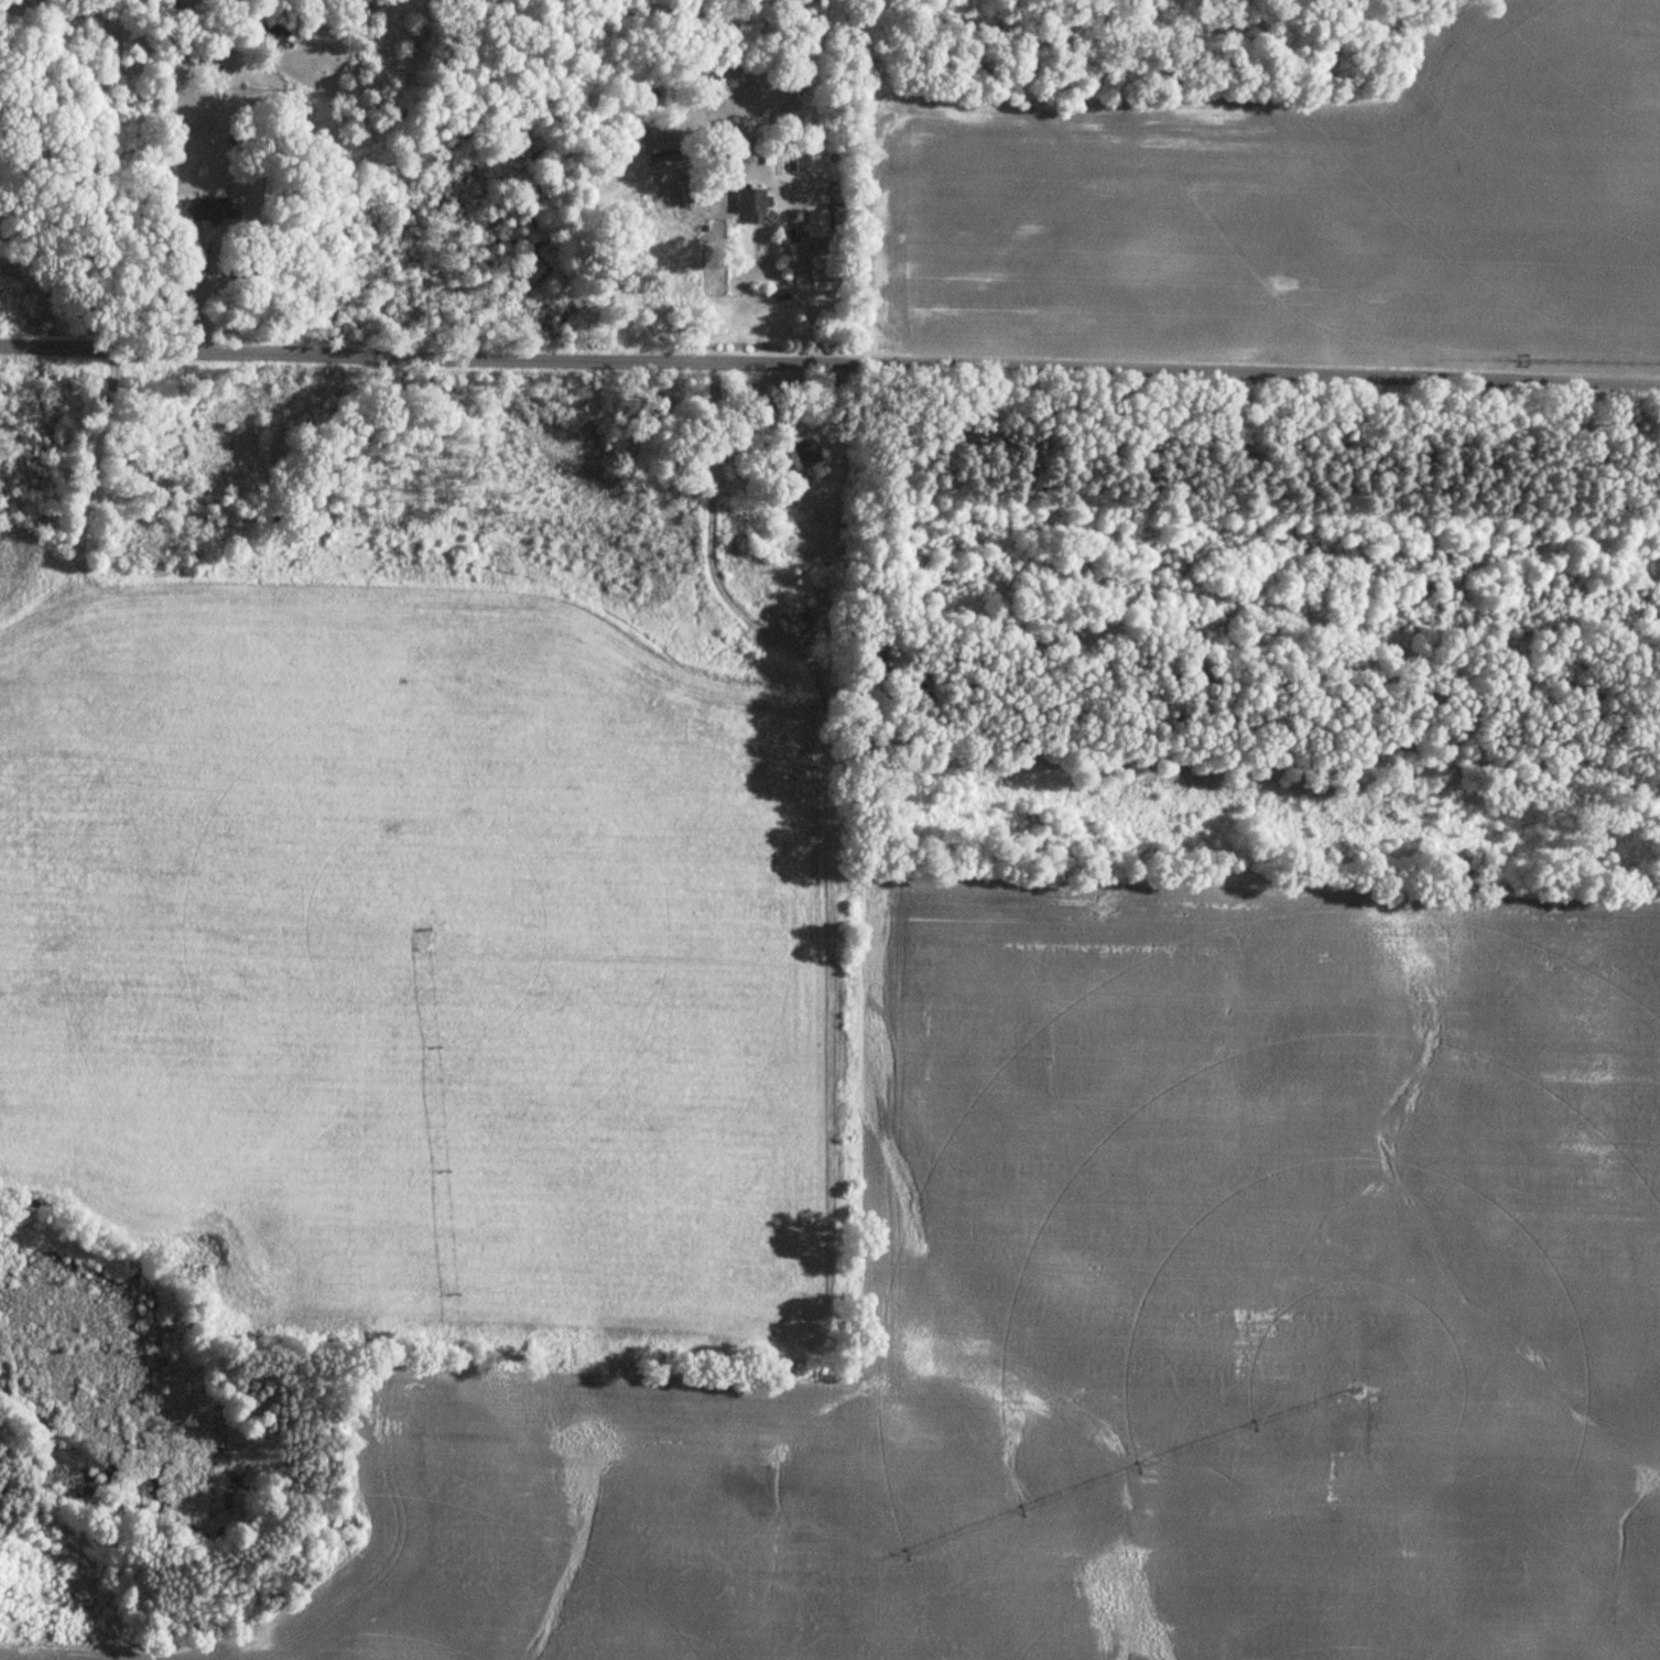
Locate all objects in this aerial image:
building: (687, 192)
building: (751, 204)
building: (204, 209)
building: (815, 224)
road: (202, 289)
road: (829, 360)
building: (806, 452)

